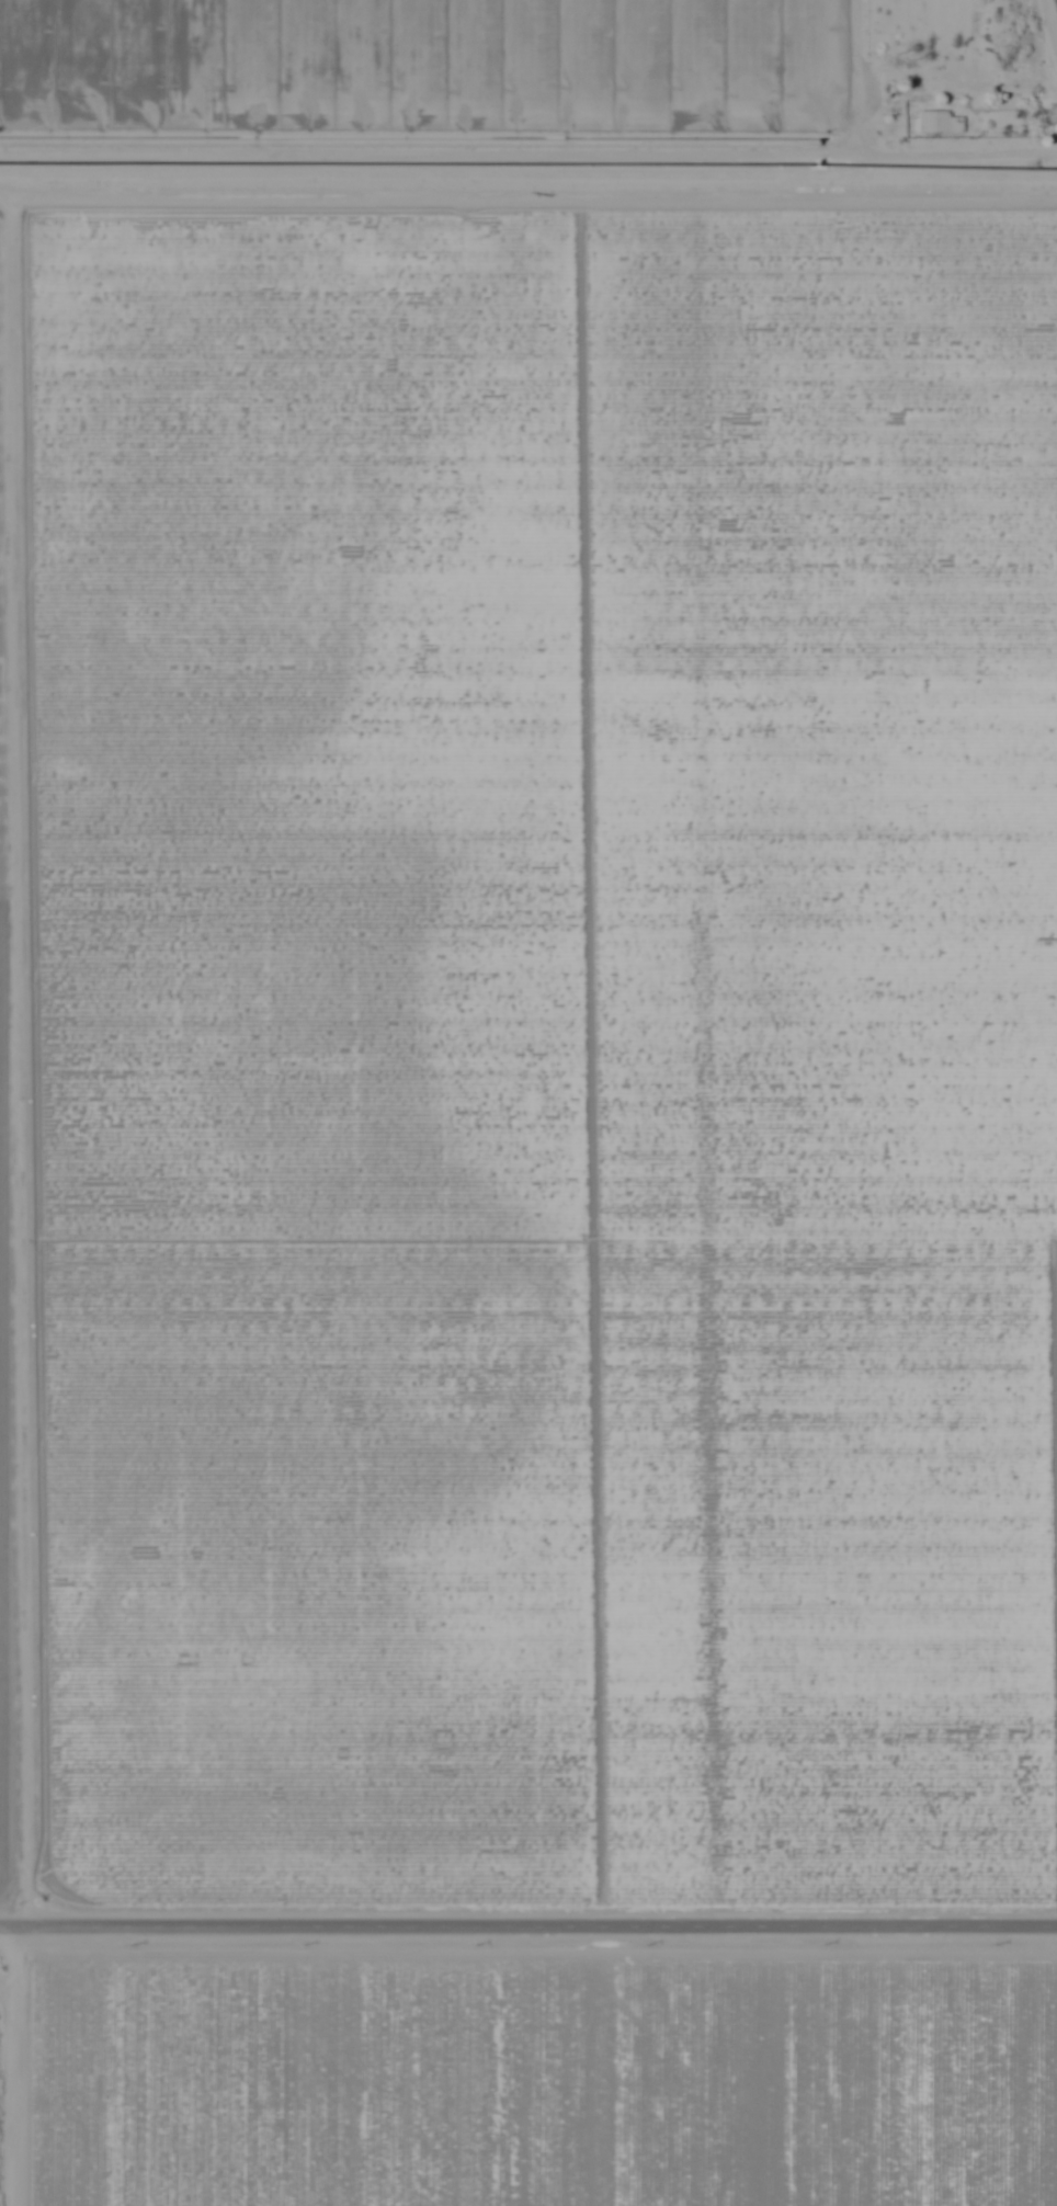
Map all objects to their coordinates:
building: (941, 123)
road: (528, 1925)

